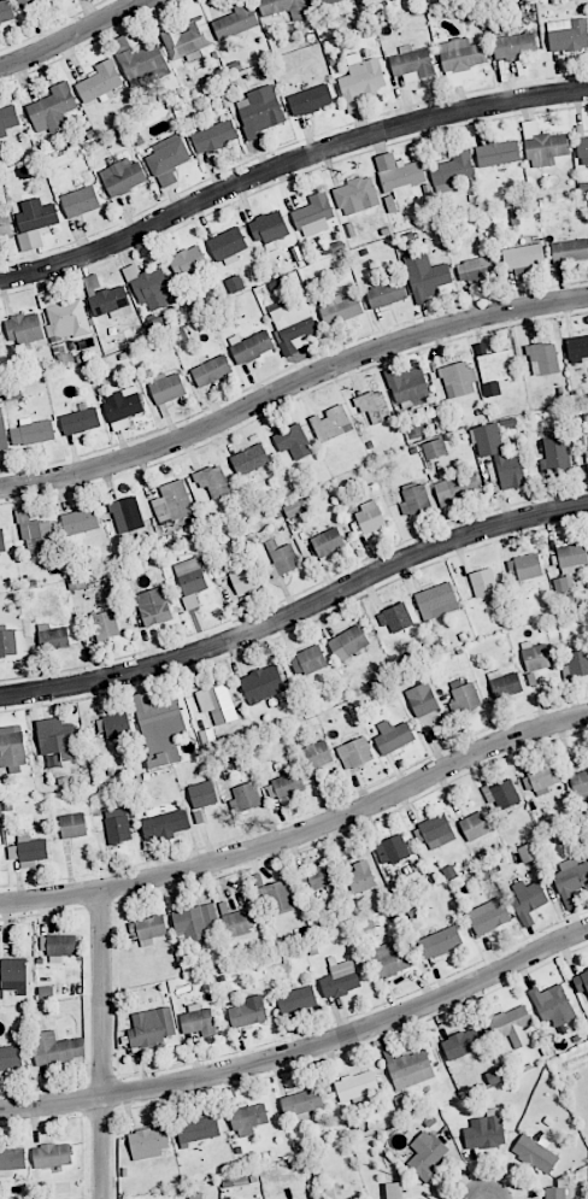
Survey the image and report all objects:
building: (25, 2)
building: (321, 2)
building: (283, 7)
building: (6, 11)
building: (235, 20)
road: (71, 34)
building: (568, 34)
building: (188, 40)
building: (513, 45)
building: (459, 59)
building: (411, 61)
building: (142, 63)
building: (360, 81)
building: (100, 82)
building: (310, 100)
building: (52, 107)
building: (259, 111)
building: (7, 118)
building: (213, 136)
building: (543, 146)
building: (582, 151)
building: (498, 153)
building: (167, 159)
road: (286, 164)
building: (452, 171)
building: (122, 176)
building: (401, 178)
building: (355, 195)
building: (80, 201)
building: (313, 214)
building: (36, 217)
building: (5, 227)
building: (269, 227)
building: (227, 245)
building: (570, 251)
building: (521, 260)
building: (188, 261)
building: (477, 268)
building: (427, 280)
building: (234, 284)
building: (152, 289)
building: (386, 294)
building: (110, 302)
building: (340, 308)
building: (292, 327)
building: (24, 328)
building: (65, 328)
building: (178, 335)
building: (577, 348)
building: (543, 358)
building: (211, 370)
building: (496, 370)
building: (458, 380)
building: (407, 384)
building: (166, 387)
road: (293, 388)
building: (123, 404)
building: (372, 407)
building: (80, 421)
building: (330, 423)
building: (2, 431)
building: (33, 431)
building: (293, 441)
building: (434, 448)
building: (555, 454)
building: (498, 455)
building: (249, 459)
building: (212, 481)
building: (457, 486)
building: (414, 499)
building: (172, 502)
building: (127, 512)
building: (369, 517)
building: (80, 521)
building: (35, 534)
building: (1, 541)
building: (328, 542)
building: (571, 556)
building: (282, 560)
building: (527, 566)
building: (243, 578)
building: (190, 580)
building: (483, 582)
building: (439, 598)
building: (153, 606)
road: (296, 610)
building: (394, 618)
building: (105, 624)
building: (53, 637)
building: (7, 641)
building: (348, 642)
building: (535, 656)
building: (308, 659)
building: (578, 663)
building: (261, 683)
building: (504, 686)
building: (465, 697)
building: (422, 700)
building: (217, 704)
building: (111, 725)
building: (159, 728)
building: (393, 736)
building: (57, 739)
building: (12, 747)
building: (354, 753)
building: (317, 754)
building: (543, 778)
building: (580, 784)
building: (284, 786)
building: (201, 794)
building: (501, 794)
building: (246, 795)
building: (72, 825)
building: (117, 825)
building: (164, 825)
building: (474, 825)
road: (300, 829)
building: (436, 831)
building: (30, 848)
building: (390, 850)
building: (528, 852)
building: (322, 875)
building: (360, 877)
building: (570, 880)
building: (528, 897)
building: (276, 898)
building: (488, 916)
building: (196, 922)
building: (237, 923)
building: (440, 941)
building: (58, 945)
building: (390, 958)
building: (14, 975)
building: (340, 980)
building: (582, 985)
building: (296, 999)
building: (552, 1005)
building: (247, 1011)
building: (198, 1021)
building: (512, 1025)
building: (151, 1027)
road: (101, 1044)
building: (461, 1044)
building: (55, 1048)
road: (302, 1048)
building: (10, 1058)
building: (410, 1069)
building: (355, 1086)
building: (301, 1101)
building: (248, 1119)
building: (198, 1129)
building: (484, 1130)
building: (148, 1142)
building: (427, 1153)
building: (535, 1153)
building: (52, 1156)
building: (12, 1158)
building: (554, 1193)

